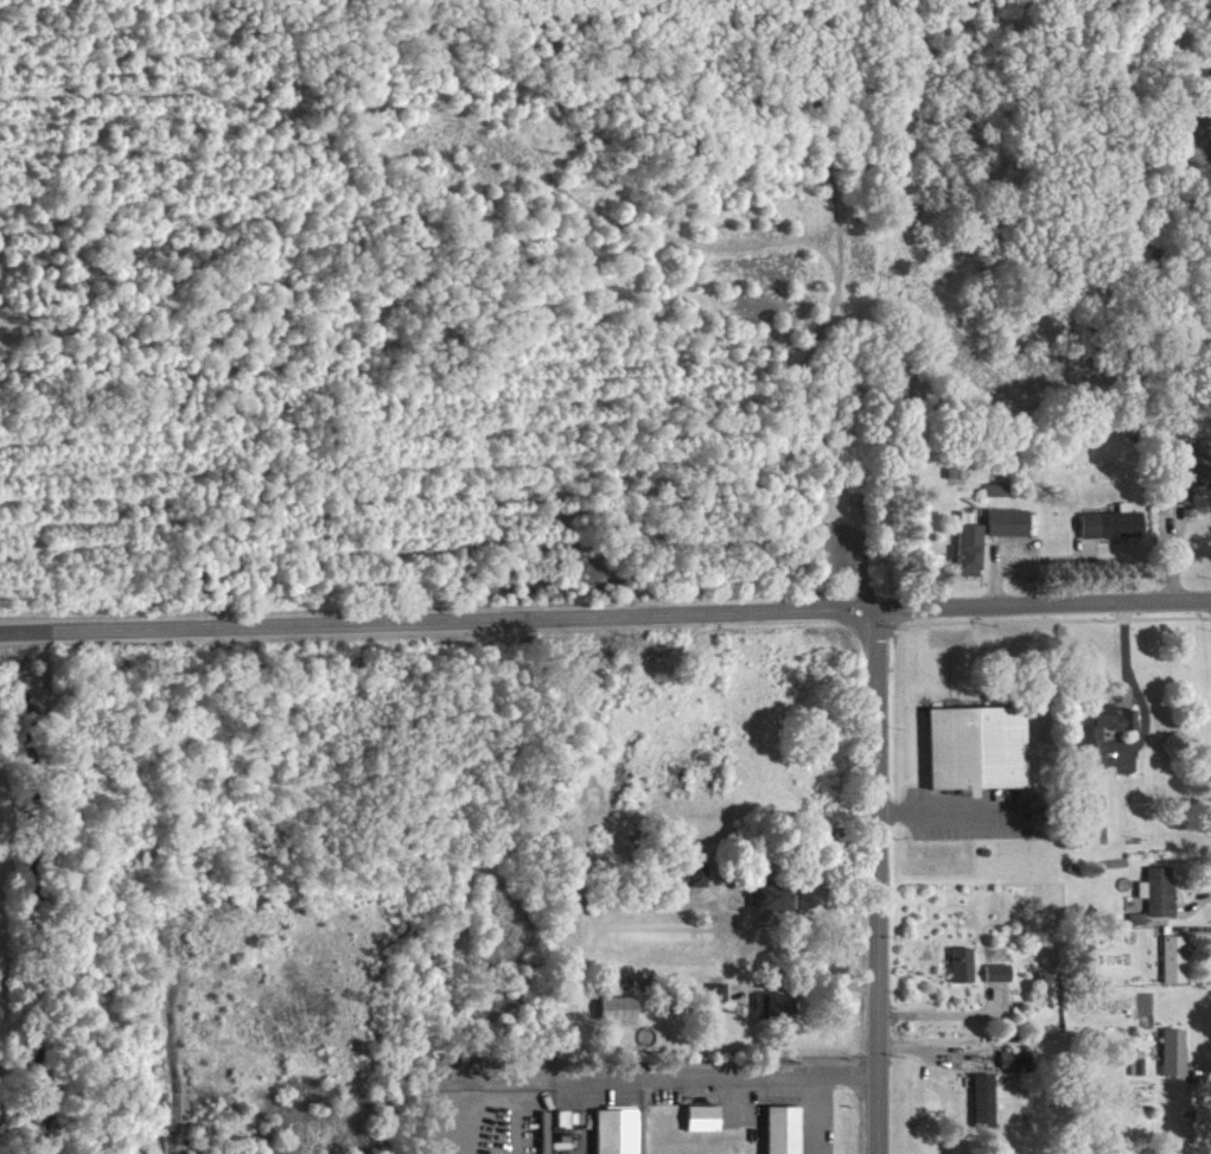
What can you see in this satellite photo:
building: (960, 477)
building: (1190, 480)
building: (1009, 533)
building: (1114, 534)
building: (971, 560)
road: (1044, 608)
road: (439, 623)
building: (1103, 740)
building: (979, 758)
road: (944, 803)
road: (878, 884)
building: (697, 885)
building: (1160, 901)
building: (773, 907)
building: (1175, 969)
building: (963, 975)
road: (812, 981)
building: (1000, 983)
building: (720, 1002)
building: (777, 1016)
building: (620, 1019)
building: (1175, 1061)
building: (1018, 1069)
road: (716, 1072)
building: (986, 1110)
building: (705, 1128)
building: (785, 1135)
building: (618, 1136)

